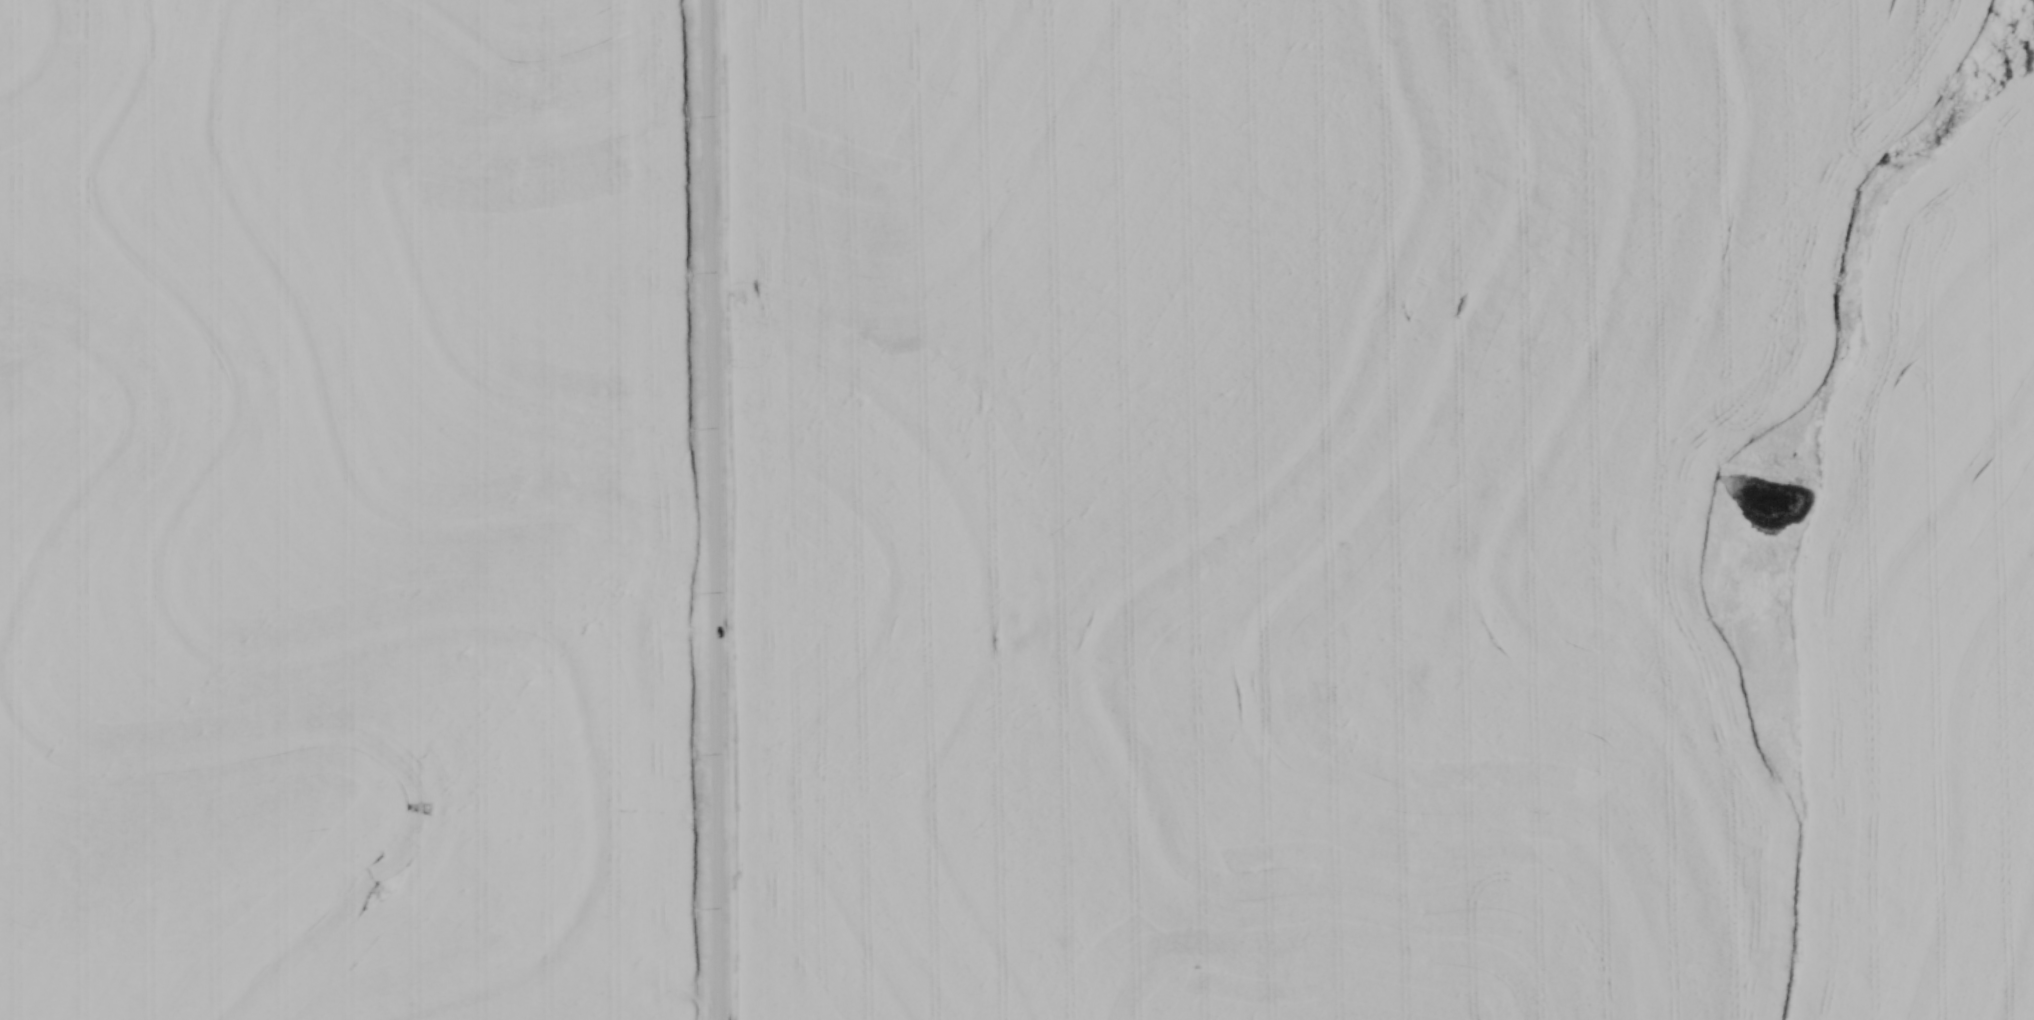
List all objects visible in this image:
road: (717, 509)

